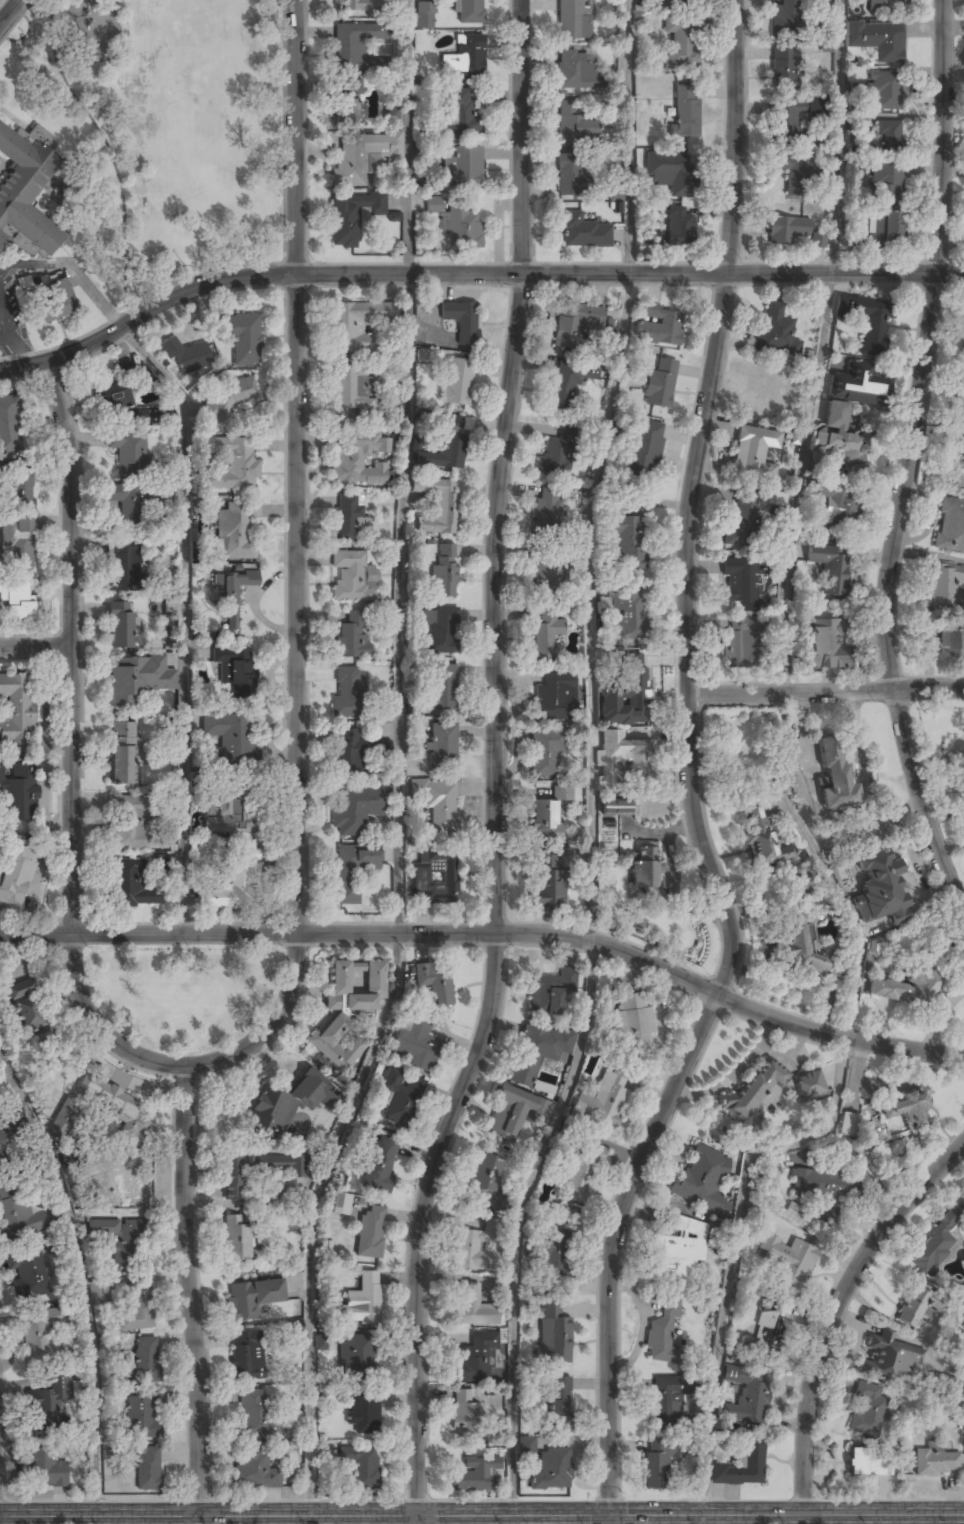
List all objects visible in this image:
building: (677, 0)
building: (356, 6)
building: (886, 6)
road: (9, 11)
building: (469, 12)
building: (424, 14)
building: (787, 17)
building: (572, 20)
building: (878, 40)
building: (682, 41)
building: (354, 44)
building: (465, 58)
building: (784, 68)
building: (574, 69)
building: (881, 90)
building: (347, 103)
building: (817, 108)
building: (458, 112)
building: (684, 112)
building: (392, 115)
building: (858, 120)
building: (787, 121)
building: (574, 123)
park: (166, 129)
building: (887, 136)
building: (362, 156)
building: (463, 168)
building: (668, 172)
building: (797, 173)
building: (569, 175)
building: (886, 184)
building: (25, 193)
building: (351, 218)
building: (462, 226)
building: (678, 228)
building: (786, 230)
building: (581, 232)
building: (879, 232)
building: (653, 238)
building: (818, 240)
road: (732, 241)
road: (936, 246)
road: (295, 261)
road: (522, 261)
road: (471, 275)
building: (52, 302)
parking lot: (8, 319)
building: (462, 320)
building: (866, 322)
building: (576, 323)
building: (357, 324)
building: (660, 327)
building: (776, 332)
building: (244, 337)
road: (820, 347)
building: (187, 356)
building: (458, 380)
building: (660, 383)
building: (858, 385)
building: (563, 388)
building: (353, 390)
building: (760, 395)
building: (111, 397)
building: (227, 399)
building: (961, 399)
building: (835, 416)
building: (8, 427)
road: (64, 427)
building: (963, 440)
building: (446, 446)
building: (645, 449)
building: (129, 450)
building: (840, 450)
building: (558, 451)
building: (754, 455)
building: (361, 460)
building: (233, 466)
building: (5, 467)
road: (404, 467)
road: (600, 470)
building: (23, 489)
building: (776, 499)
building: (837, 500)
building: (124, 502)
building: (437, 504)
building: (551, 504)
building: (347, 519)
building: (742, 519)
building: (950, 525)
building: (234, 535)
building: (632, 540)
building: (16, 544)
building: (121, 566)
building: (830, 567)
building: (444, 572)
building: (548, 572)
building: (350, 577)
building: (740, 582)
building: (945, 587)
building: (16, 597)
building: (234, 598)
building: (628, 611)
building: (121, 625)
building: (441, 628)
building: (547, 633)
building: (351, 636)
building: (951, 642)
building: (740, 643)
building: (825, 643)
road: (37, 648)
building: (233, 667)
building: (138, 678)
building: (634, 686)
building: (441, 687)
building: (348, 692)
road: (825, 692)
building: (556, 697)
road: (897, 703)
building: (16, 710)
road: (74, 713)
road: (298, 729)
building: (229, 737)
building: (442, 746)
building: (355, 752)
building: (122, 753)
building: (545, 754)
building: (638, 754)
building: (835, 776)
building: (19, 790)
building: (563, 792)
building: (211, 803)
building: (439, 805)
building: (617, 807)
building: (357, 808)
building: (230, 811)
building: (545, 821)
building: (133, 822)
building: (763, 838)
building: (159, 861)
building: (352, 870)
building: (645, 870)
building: (16, 873)
building: (433, 878)
building: (232, 879)
building: (548, 881)
building: (130, 884)
building: (880, 888)
road: (492, 934)
building: (799, 934)
building: (435, 983)
building: (904, 990)
building: (551, 992)
road: (714, 1003)
building: (347, 1009)
building: (27, 1010)
building: (633, 1023)
road: (484, 1027)
building: (416, 1044)
building: (537, 1052)
road: (183, 1066)
building: (60, 1079)
building: (809, 1085)
building: (542, 1087)
building: (755, 1091)
building: (400, 1097)
building: (604, 1099)
building: (287, 1102)
building: (121, 1106)
building: (905, 1110)
building: (512, 1113)
building: (848, 1123)
road: (829, 1125)
building: (3, 1138)
building: (6, 1162)
building: (380, 1164)
building: (769, 1169)
building: (256, 1170)
building: (580, 1170)
building: (487, 1176)
building: (702, 1180)
building: (132, 1182)
building: (829, 1187)
building: (341, 1204)
building: (22, 1214)
building: (800, 1216)
road: (309, 1217)
road: (519, 1223)
building: (371, 1232)
building: (937, 1238)
building: (238, 1239)
building: (120, 1242)
building: (474, 1251)
building: (678, 1251)
building: (552, 1258)
building: (789, 1260)
building: (28, 1272)
road: (82, 1281)
road: (187, 1291)
building: (95, 1295)
building: (252, 1297)
building: (361, 1302)
building: (472, 1306)
building: (135, 1307)
road: (836, 1309)
building: (910, 1310)
building: (764, 1332)
building: (663, 1333)
building: (40, 1334)
building: (552, 1334)
building: (321, 1342)
building: (356, 1353)
building: (247, 1357)
building: (476, 1357)
building: (888, 1358)
building: (144, 1359)
building: (946, 1381)
building: (749, 1397)
building: (47, 1400)
building: (559, 1400)
building: (665, 1402)
building: (868, 1410)
building: (363, 1412)
building: (464, 1415)
building: (255, 1416)
building: (140, 1417)
building: (869, 1462)
building: (937, 1462)
building: (659, 1463)
building: (361, 1465)
building: (740, 1467)
building: (45, 1468)
building: (254, 1468)
building: (147, 1469)
building: (551, 1469)
building: (474, 1475)
road: (481, 1516)
road: (512, 1520)
road: (609, 1520)
road: (702, 1520)

